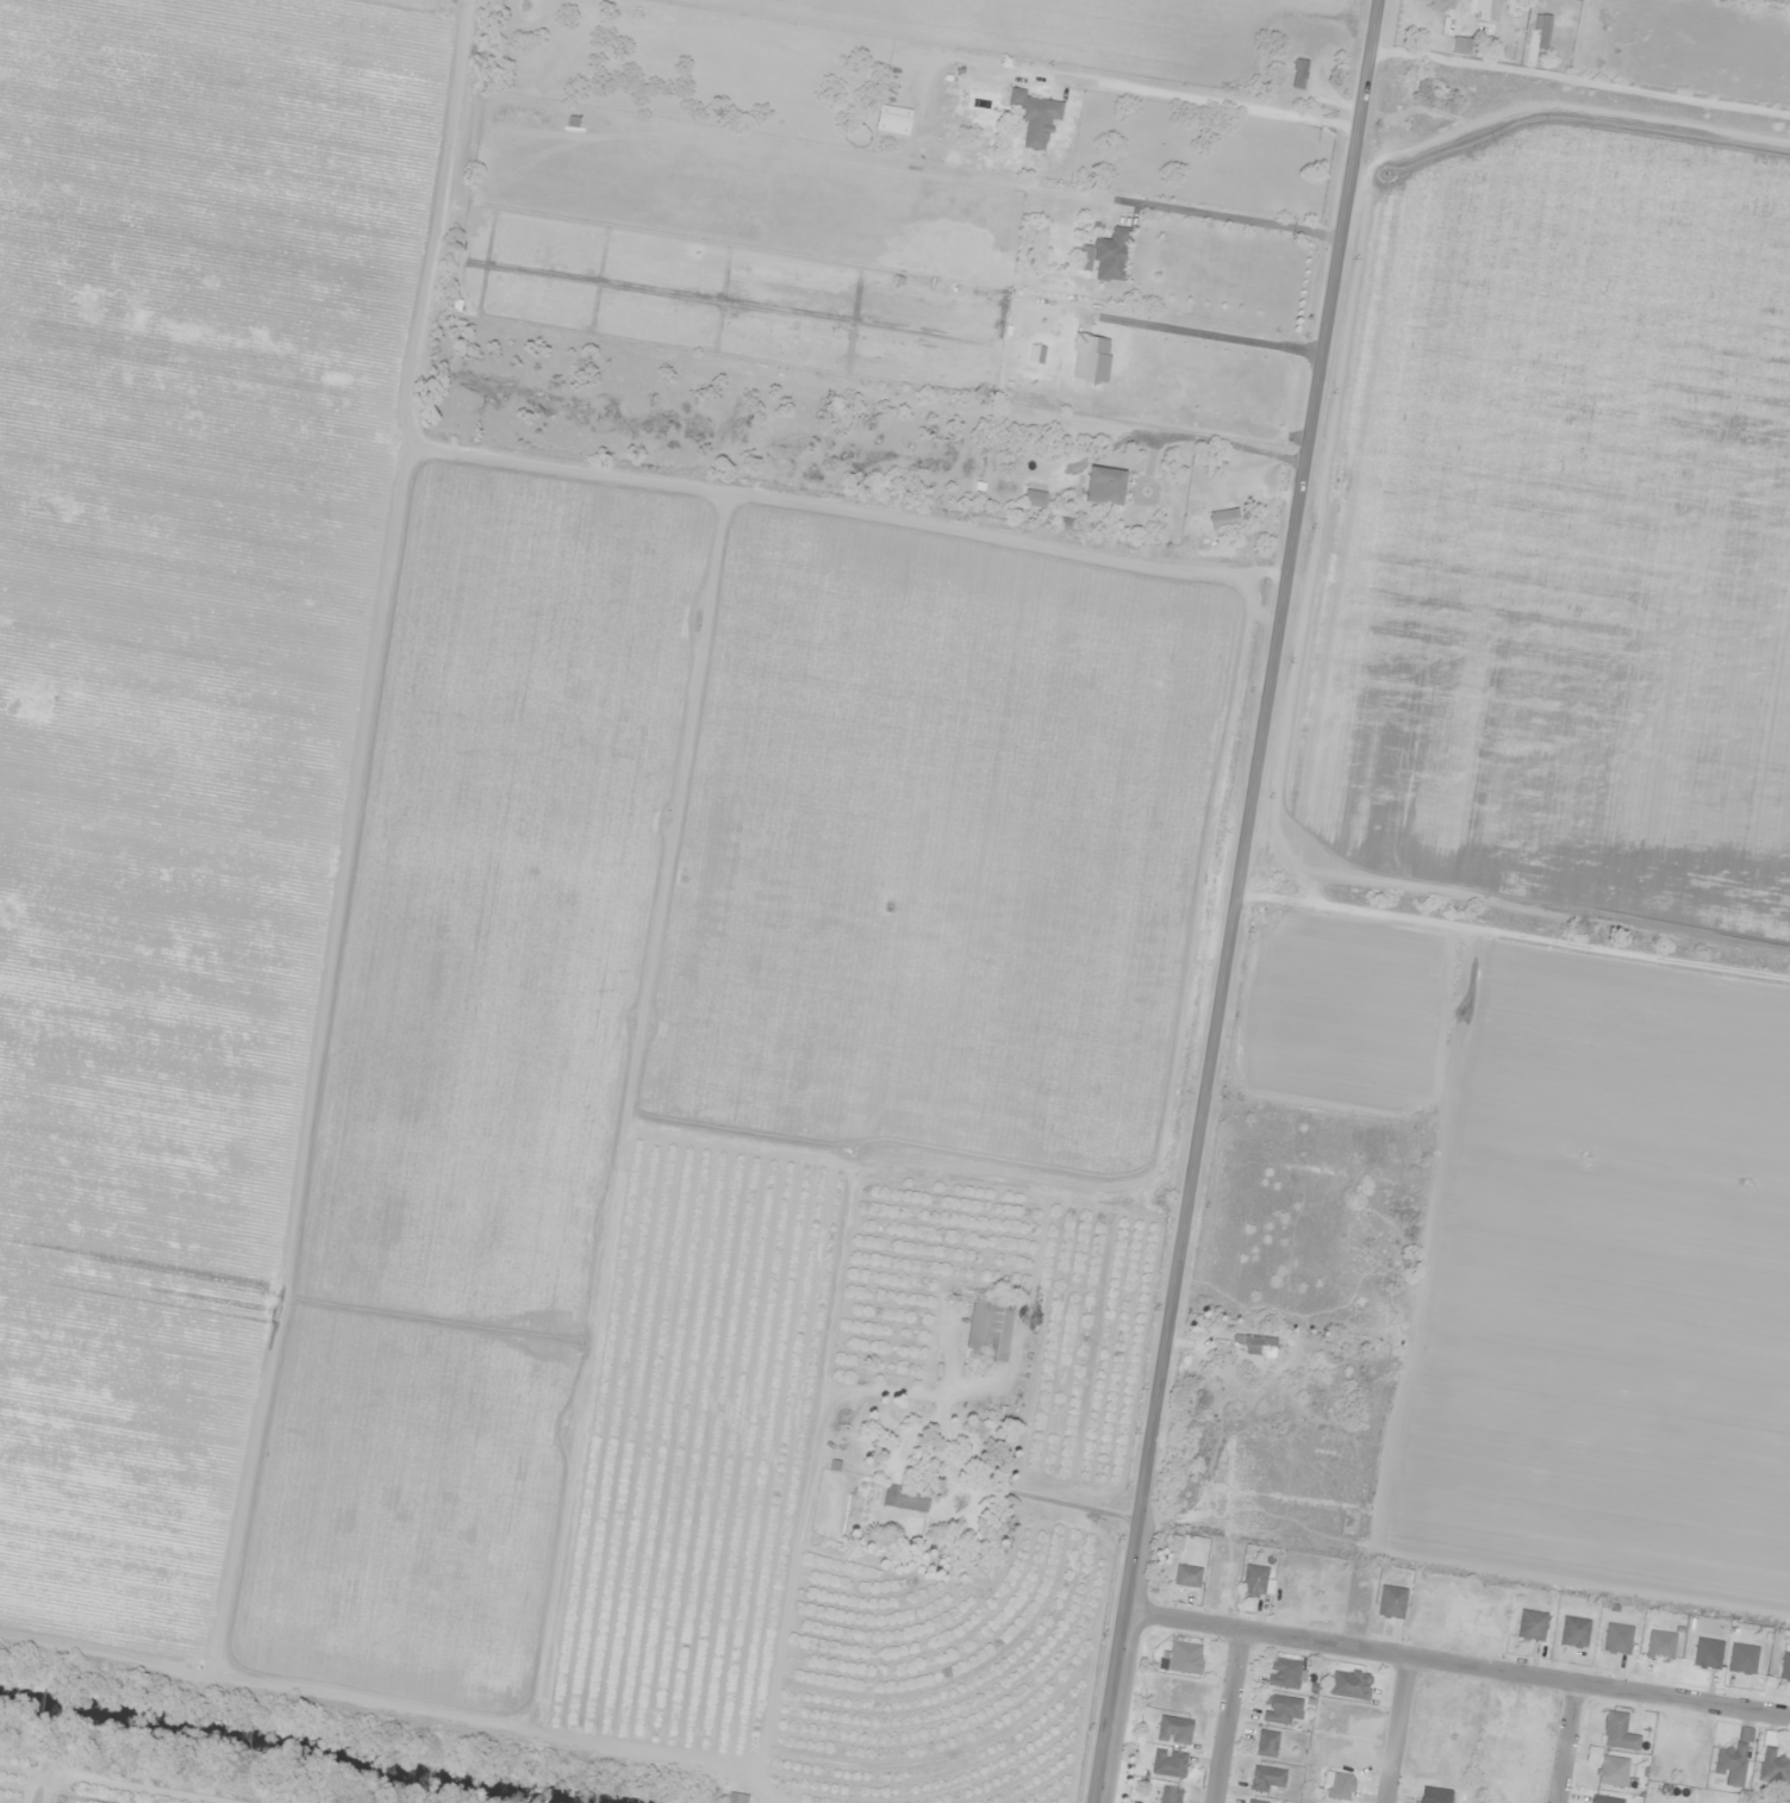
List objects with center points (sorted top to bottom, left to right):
building: (1486, 8)
building: (1462, 44)
building: (1299, 73)
road: (1580, 82)
building: (1017, 98)
building: (1036, 129)
building: (1112, 255)
building: (1106, 486)
building: (1225, 519)
road: (1245, 901)
building: (990, 1327)
building: (1256, 1342)
building: (906, 1498)
building: (1189, 1576)
building: (1255, 1580)
building: (1392, 1602)
building: (1532, 1624)
building: (1574, 1632)
building: (1619, 1637)
building: (1661, 1645)
building: (1709, 1653)
building: (1186, 1658)
building: (1744, 1658)
road: (1461, 1665)
building: (1785, 1666)
building: (1284, 1673)
building: (1351, 1684)
building: (1280, 1709)
road: (1227, 1717)
building: (1175, 1729)
road: (1395, 1729)
building: (1619, 1732)
road: (1564, 1742)
building: (1267, 1743)
building: (1170, 1763)
building: (1733, 1764)
building: (1775, 1766)
building: (1613, 1771)
building: (1266, 1778)
building: (1341, 1786)
building: (1171, 1795)
building: (1436, 1795)
building: (737, 1797)
building: (1608, 1799)
building: (1255, 1802)

